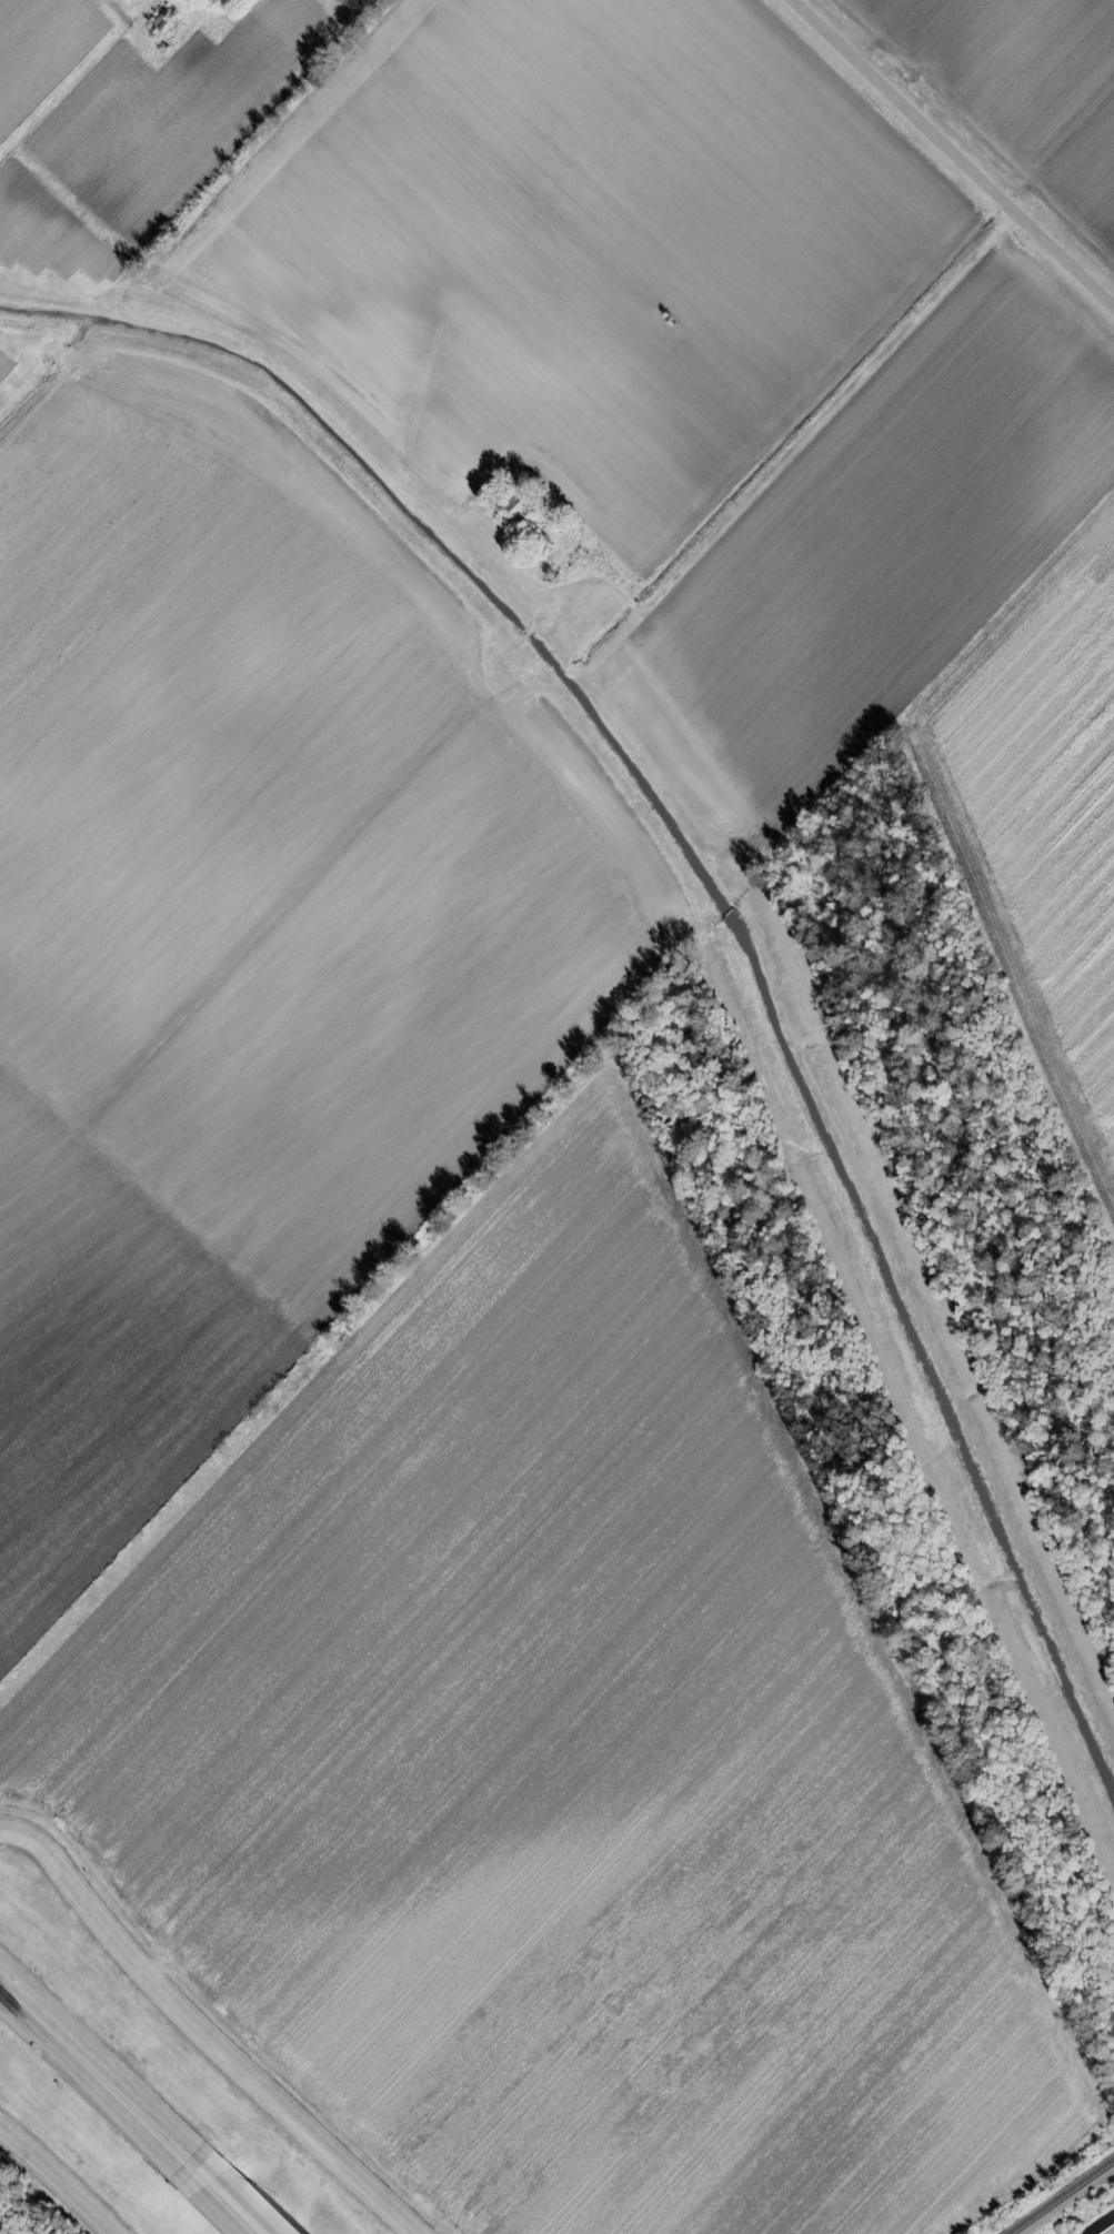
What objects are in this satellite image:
road: (71, 81)
road: (957, 149)
road: (803, 430)
building: (516, 505)
road: (954, 648)
road: (201, 2034)
road: (100, 2091)
road: (58, 2180)
railway: (1063, 2197)
road: (223, 2212)

